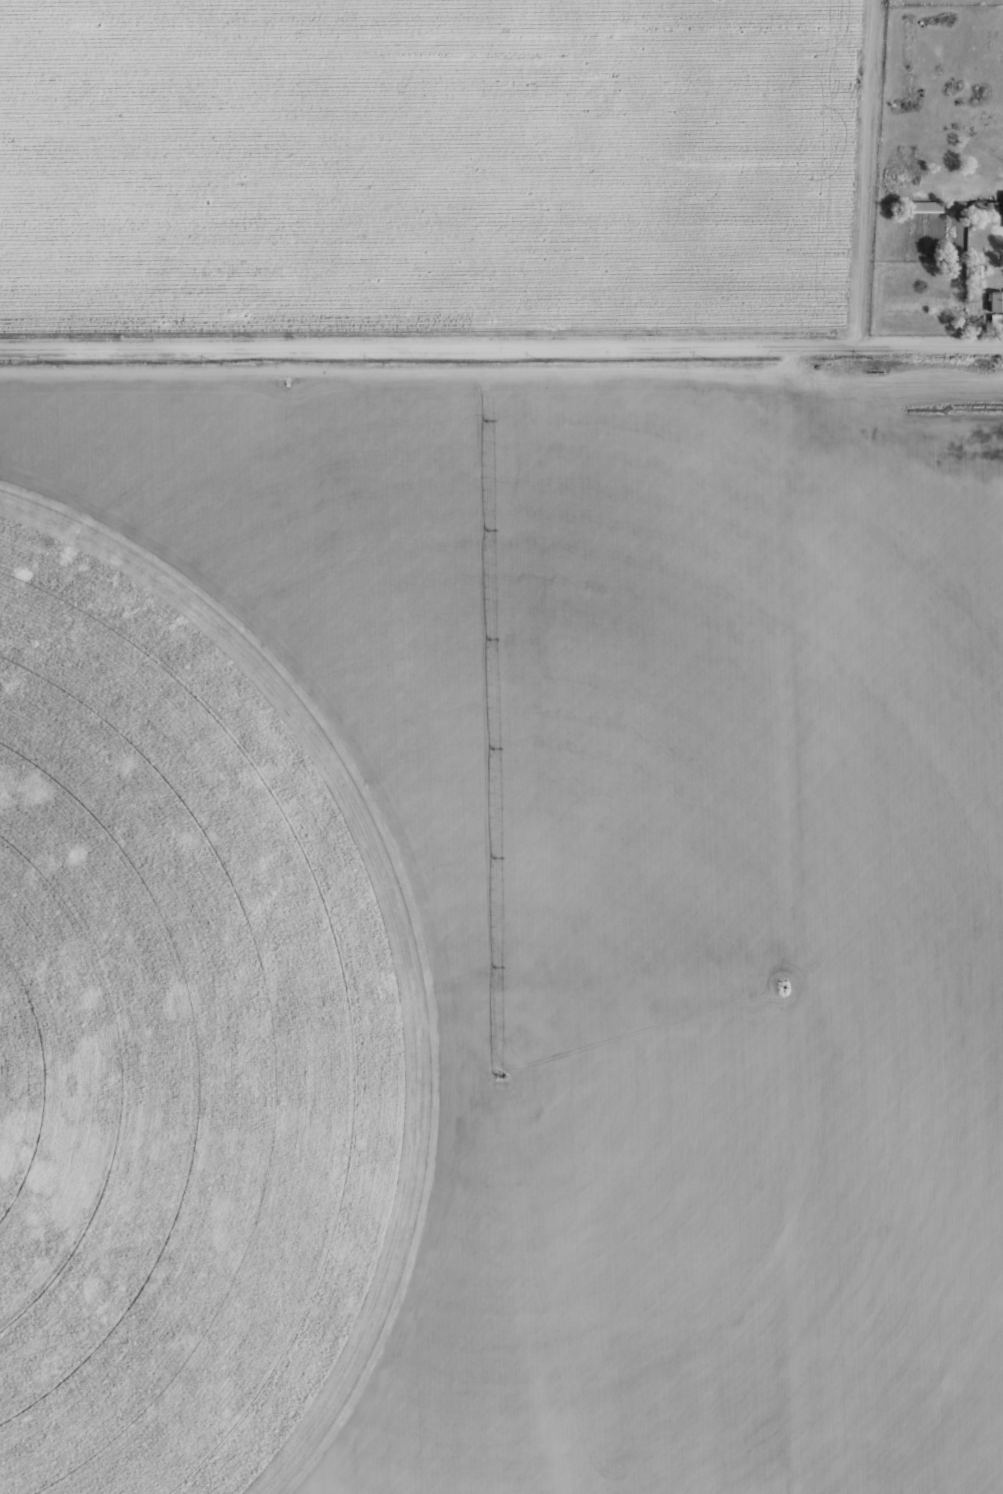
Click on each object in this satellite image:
road: (861, 173)
building: (1001, 204)
building: (919, 206)
building: (976, 270)
building: (994, 301)
building: (993, 320)
road: (501, 348)
building: (467, 446)

